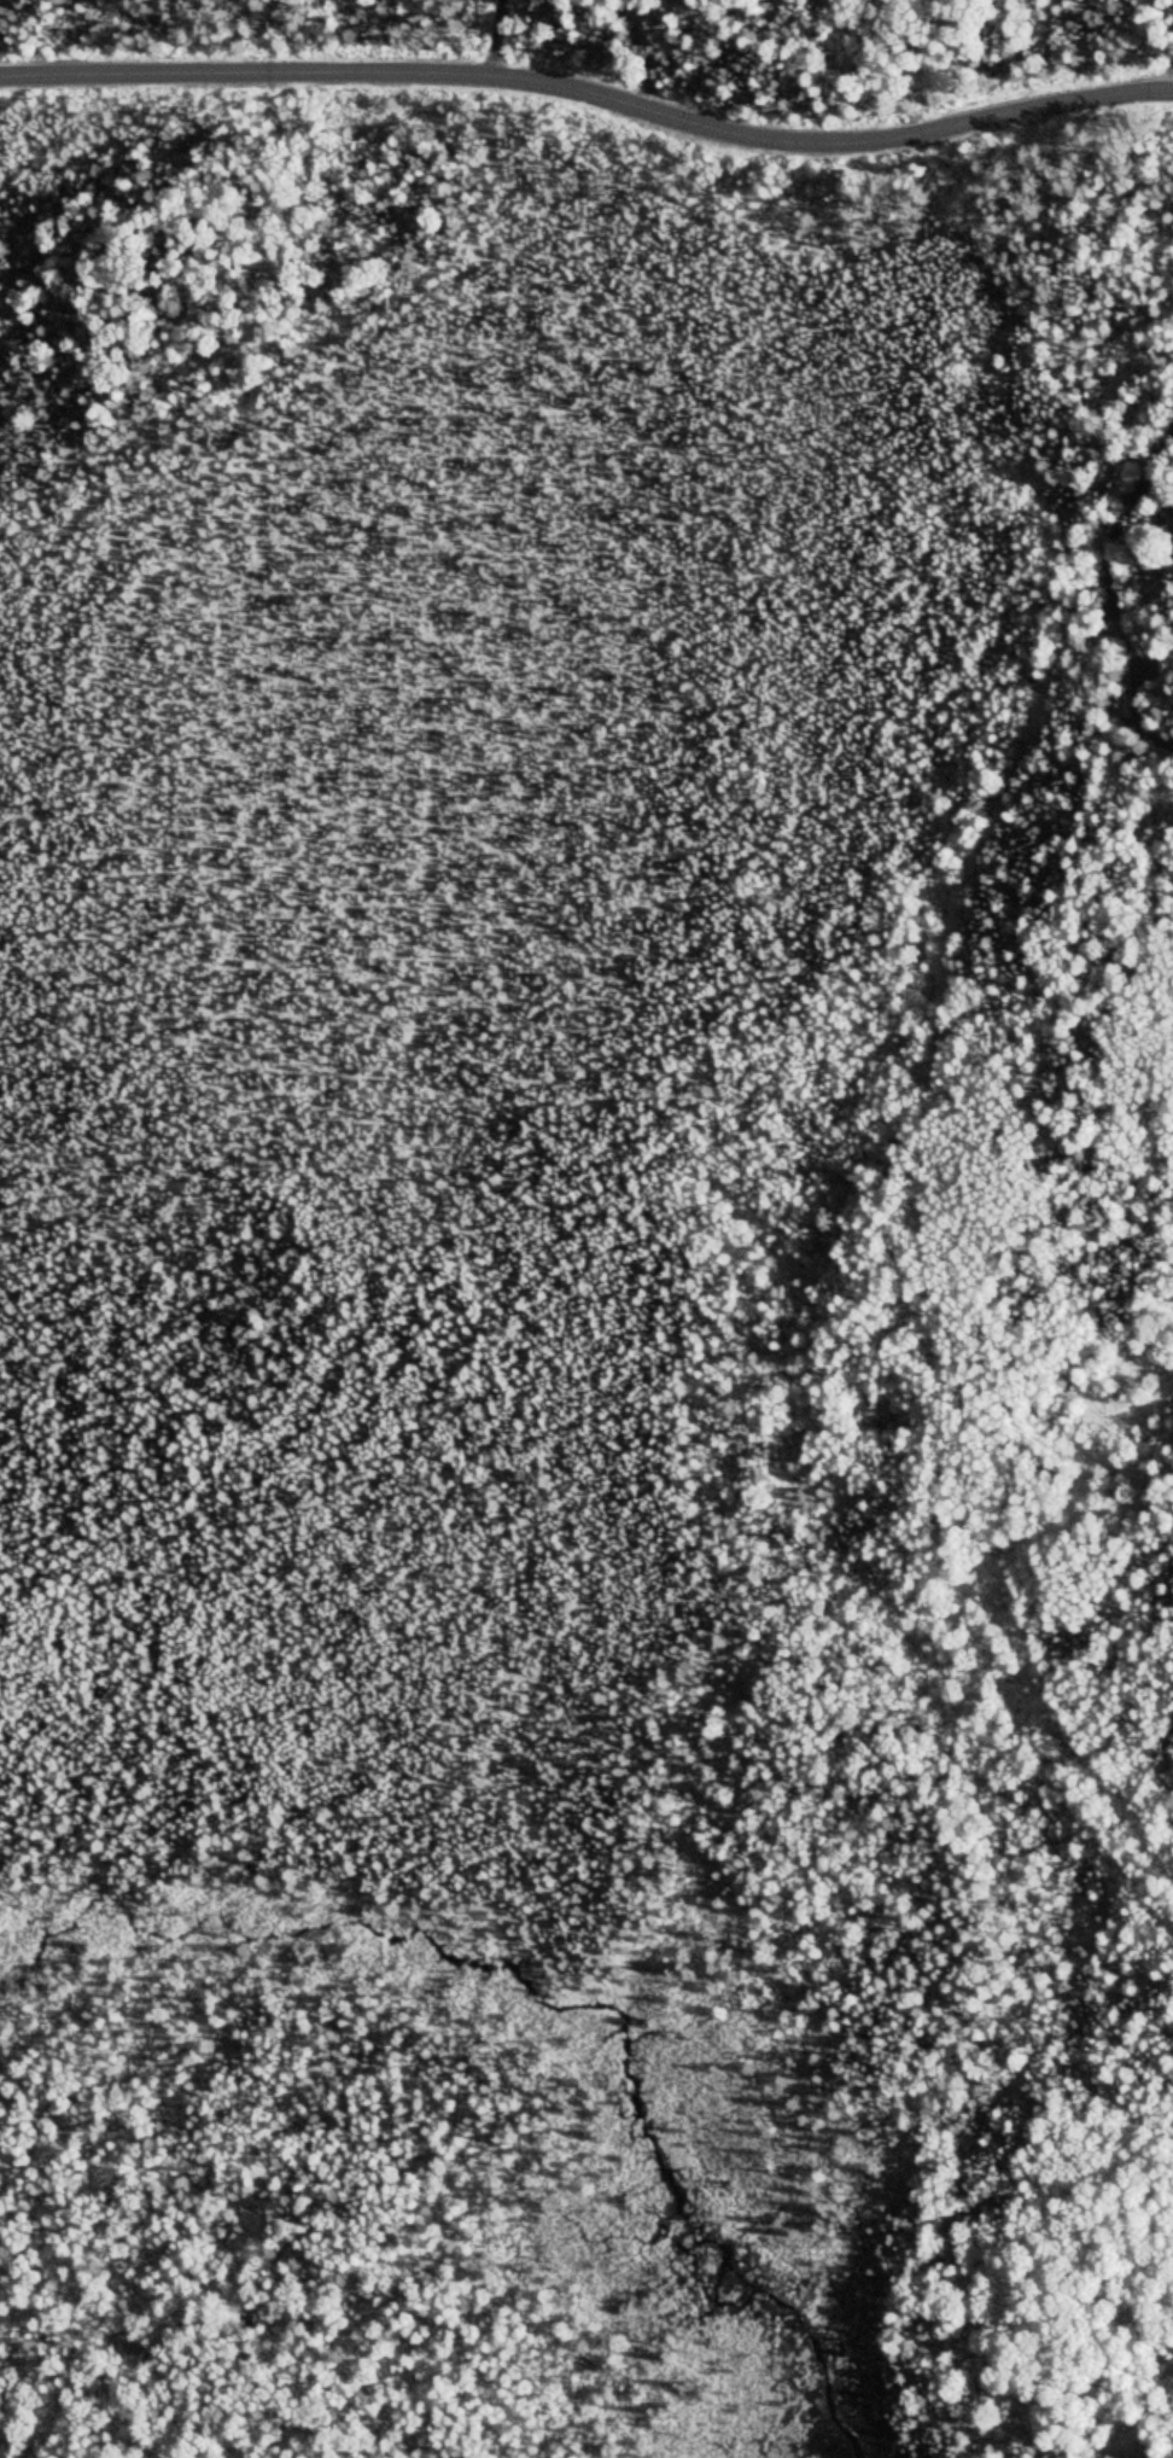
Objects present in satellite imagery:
road: (229, 40)
road: (1159, 47)
road: (116, 82)
road: (1171, 94)
road: (699, 132)

